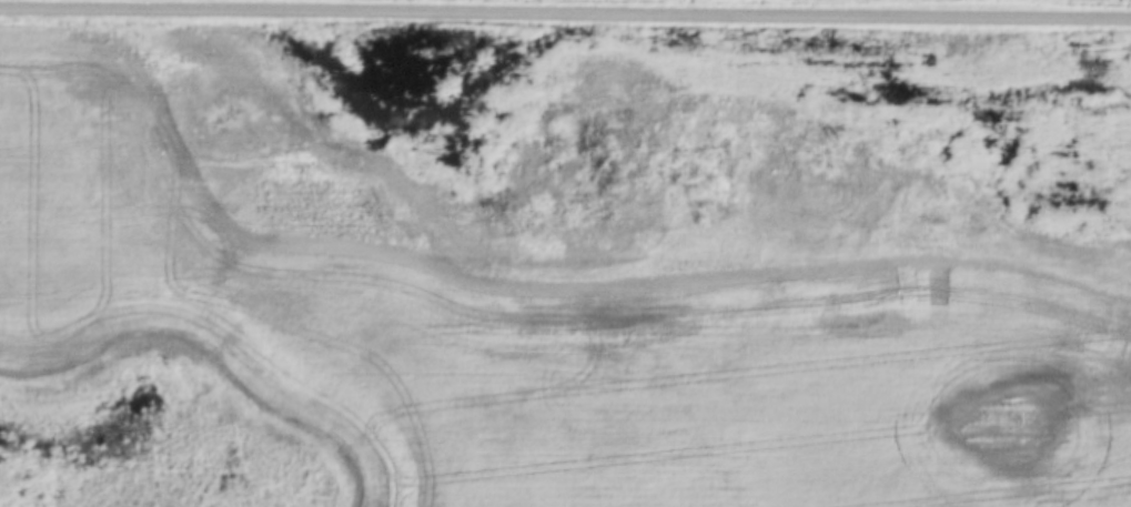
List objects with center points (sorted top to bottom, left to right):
road: (565, 16)

